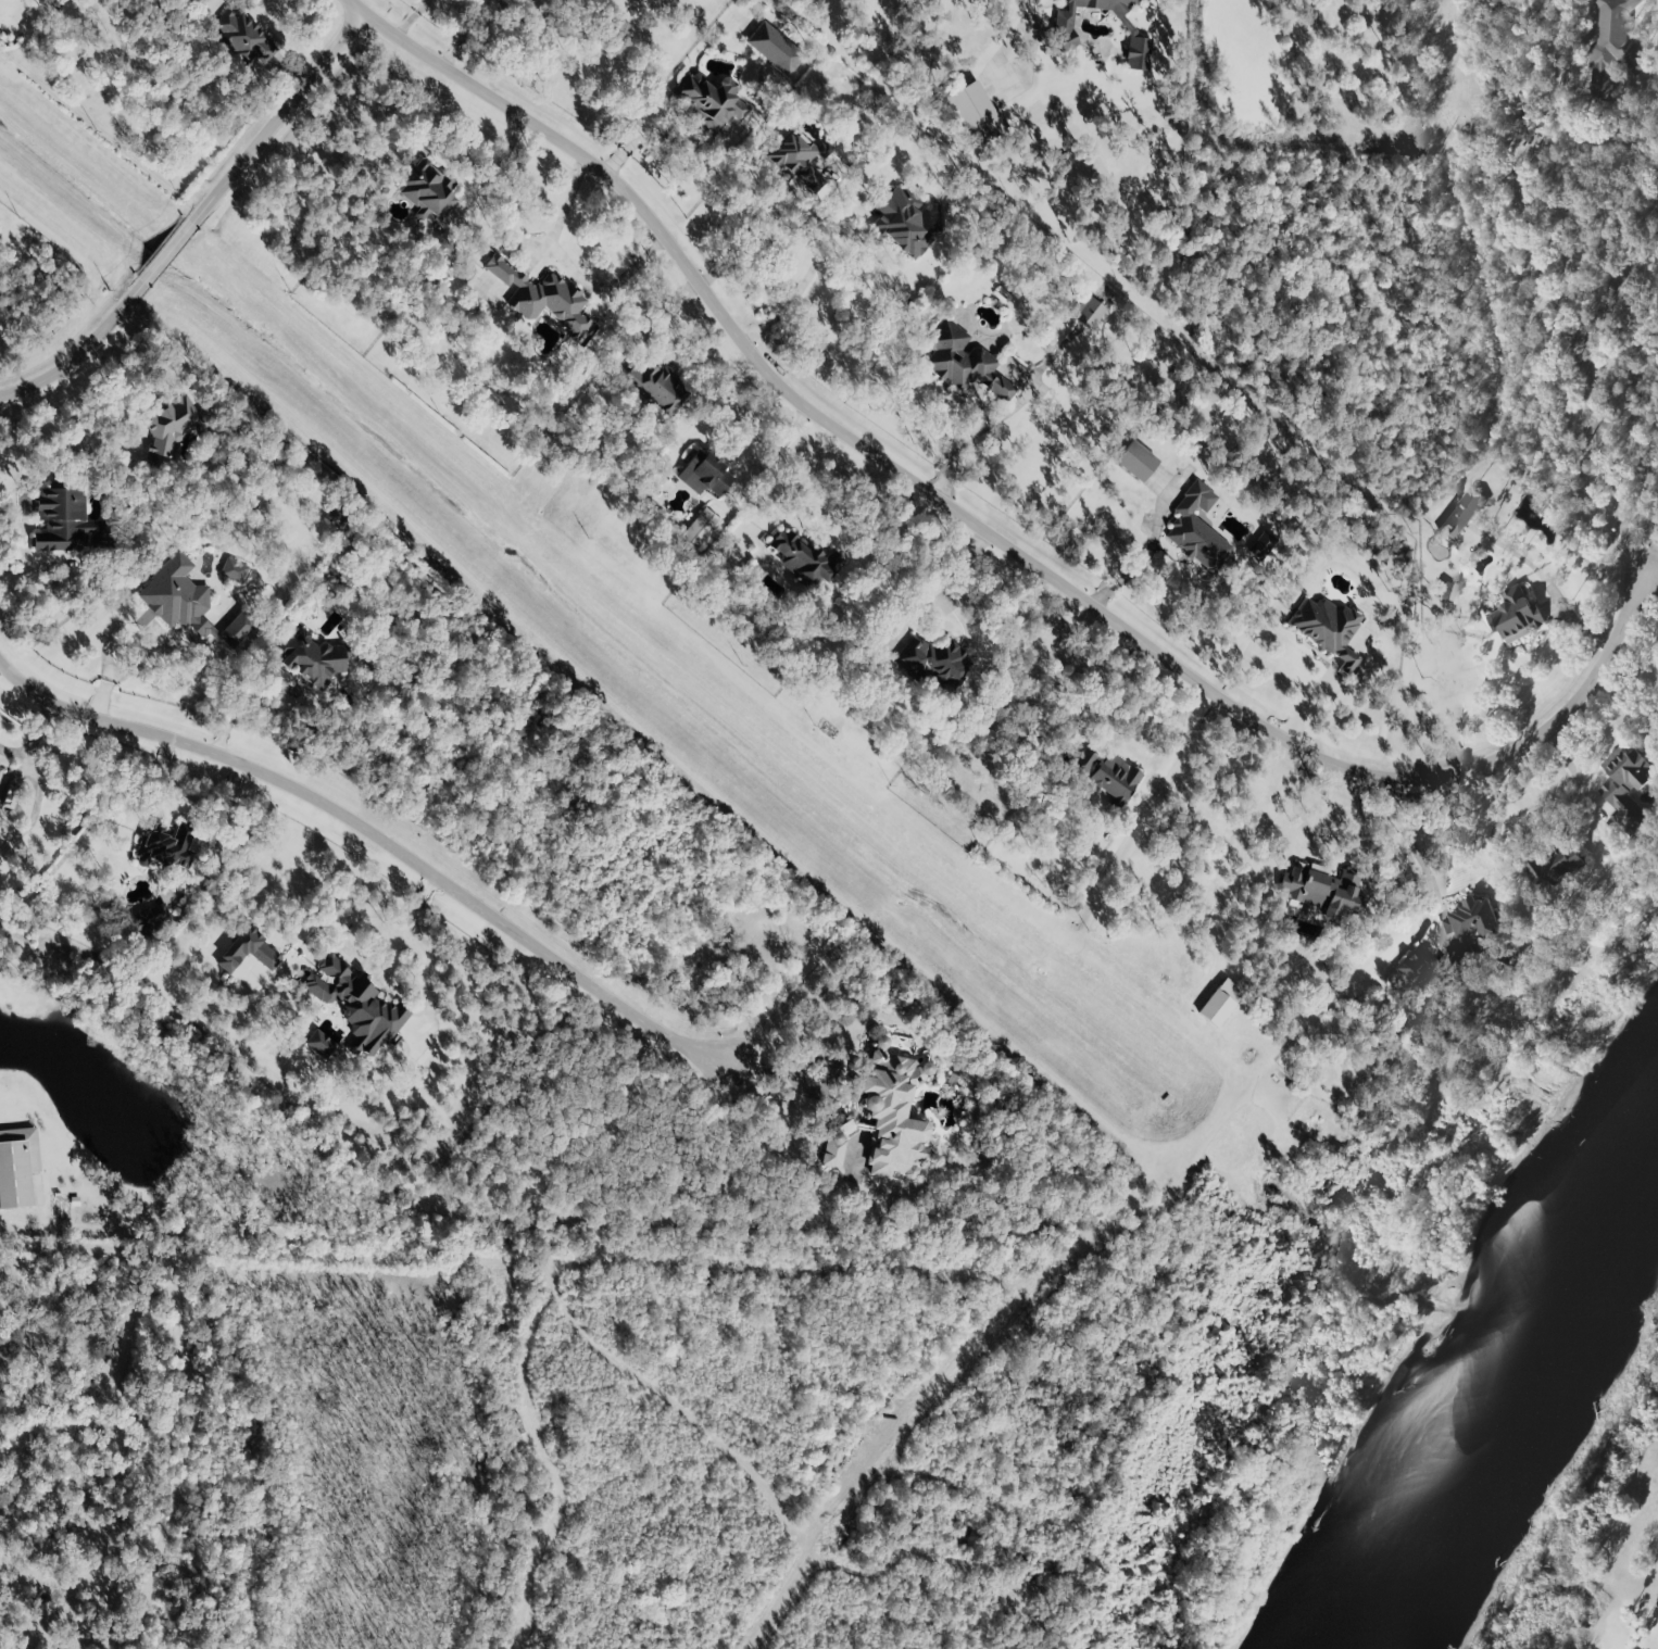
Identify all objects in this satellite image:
building: (1064, 33)
building: (244, 38)
building: (1613, 47)
building: (774, 49)
building: (709, 101)
building: (975, 113)
road: (662, 138)
building: (802, 159)
road: (498, 171)
building: (428, 189)
road: (200, 215)
building: (901, 221)
road: (759, 253)
road: (570, 265)
road: (803, 281)
building: (542, 297)
building: (1088, 312)
road: (663, 318)
road: (1571, 335)
building: (964, 362)
road: (124, 386)
building: (655, 386)
building: (173, 428)
road: (966, 440)
road: (770, 457)
building: (1135, 461)
building: (705, 475)
building: (1461, 515)
road: (26, 517)
building: (66, 523)
road: (893, 530)
building: (698, 531)
building: (1197, 532)
road: (987, 533)
building: (1263, 545)
building: (805, 559)
road: (1144, 559)
building: (233, 571)
road: (1651, 583)
road: (1546, 584)
road: (944, 589)
building: (188, 603)
building: (1516, 617)
road: (123, 618)
building: (1329, 630)
road: (1638, 635)
building: (310, 657)
building: (933, 663)
road: (1118, 693)
road: (267, 709)
road: (33, 737)
building: (1, 771)
road: (1574, 775)
building: (1115, 778)
building: (1626, 791)
building: (10, 797)
road: (192, 798)
road: (35, 805)
road: (1494, 824)
road: (385, 840)
building: (166, 847)
road: (1410, 847)
building: (1554, 868)
building: (1323, 891)
building: (153, 919)
building: (1475, 923)
building: (248, 952)
road: (356, 957)
building: (1416, 965)
building: (1220, 1003)
building: (356, 1004)
building: (319, 1044)
building: (1406, 1052)
building: (892, 1115)
building: (833, 1150)
building: (17, 1167)
river: (1485, 1364)

